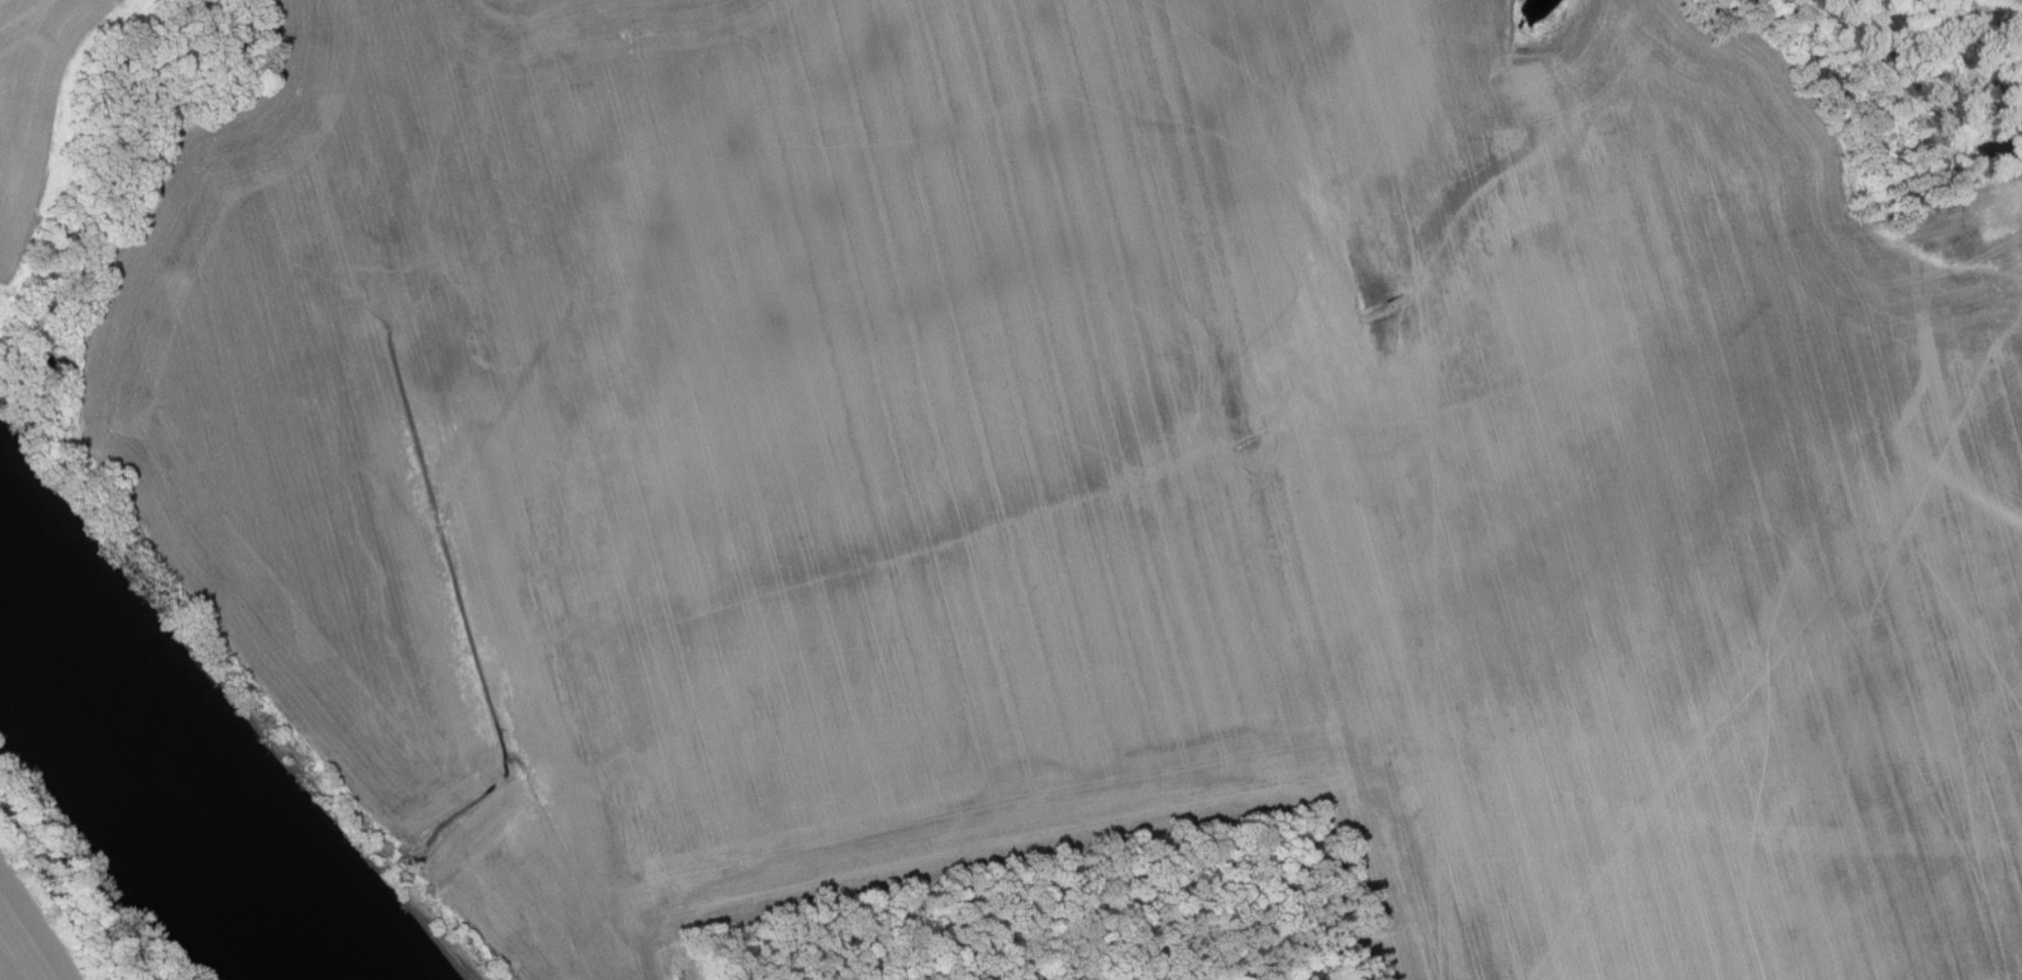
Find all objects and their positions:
river: (160, 786)

